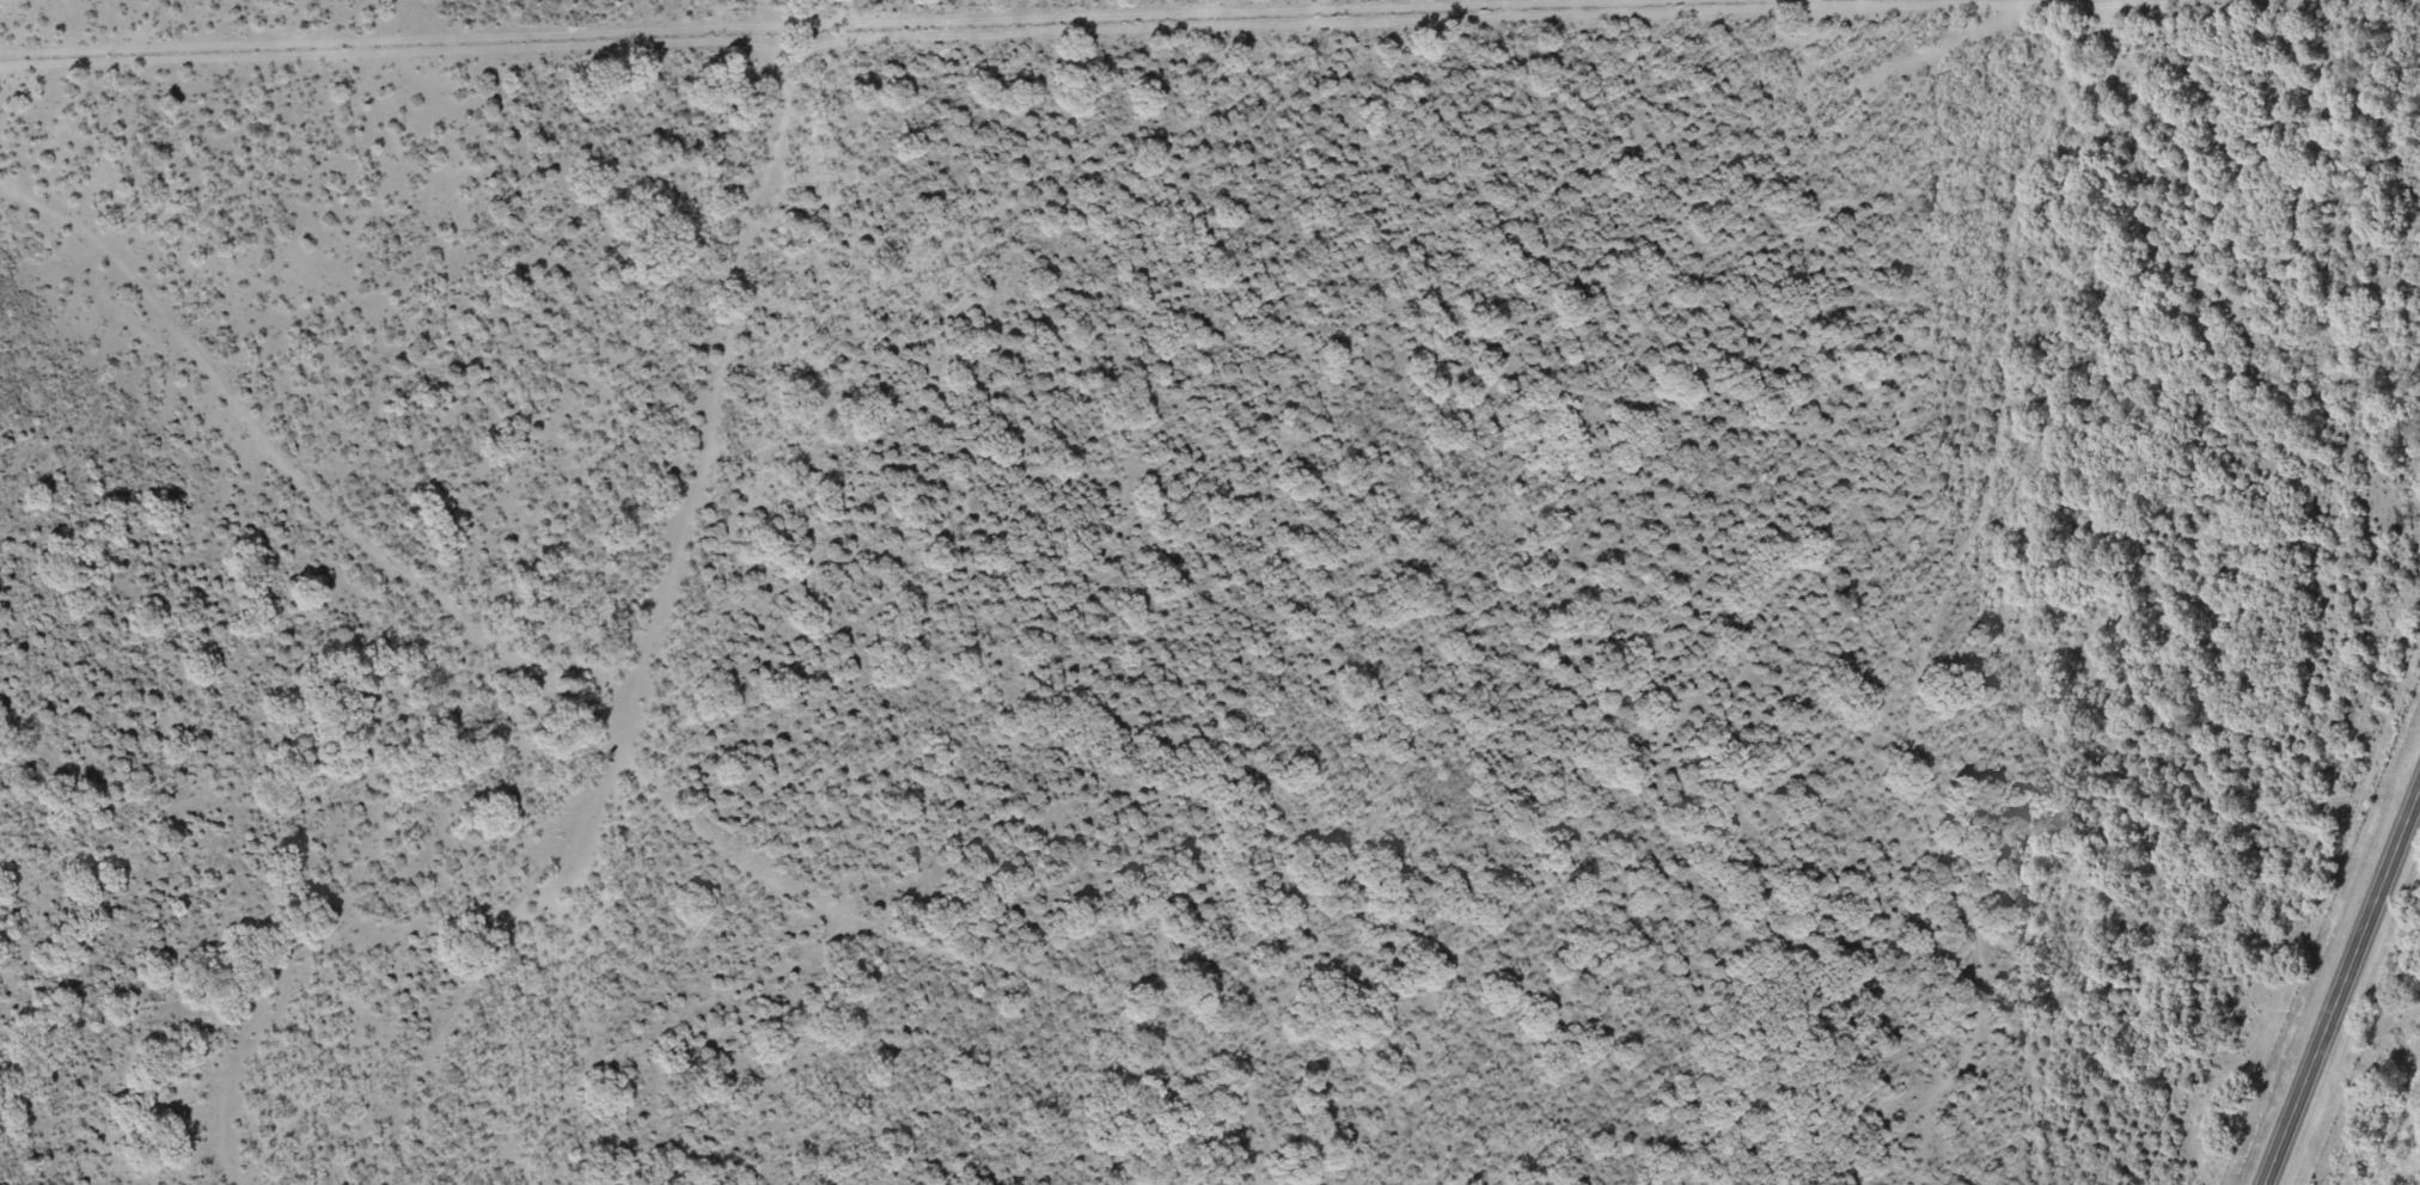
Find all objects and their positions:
road: (616, 732)
road: (2343, 991)

